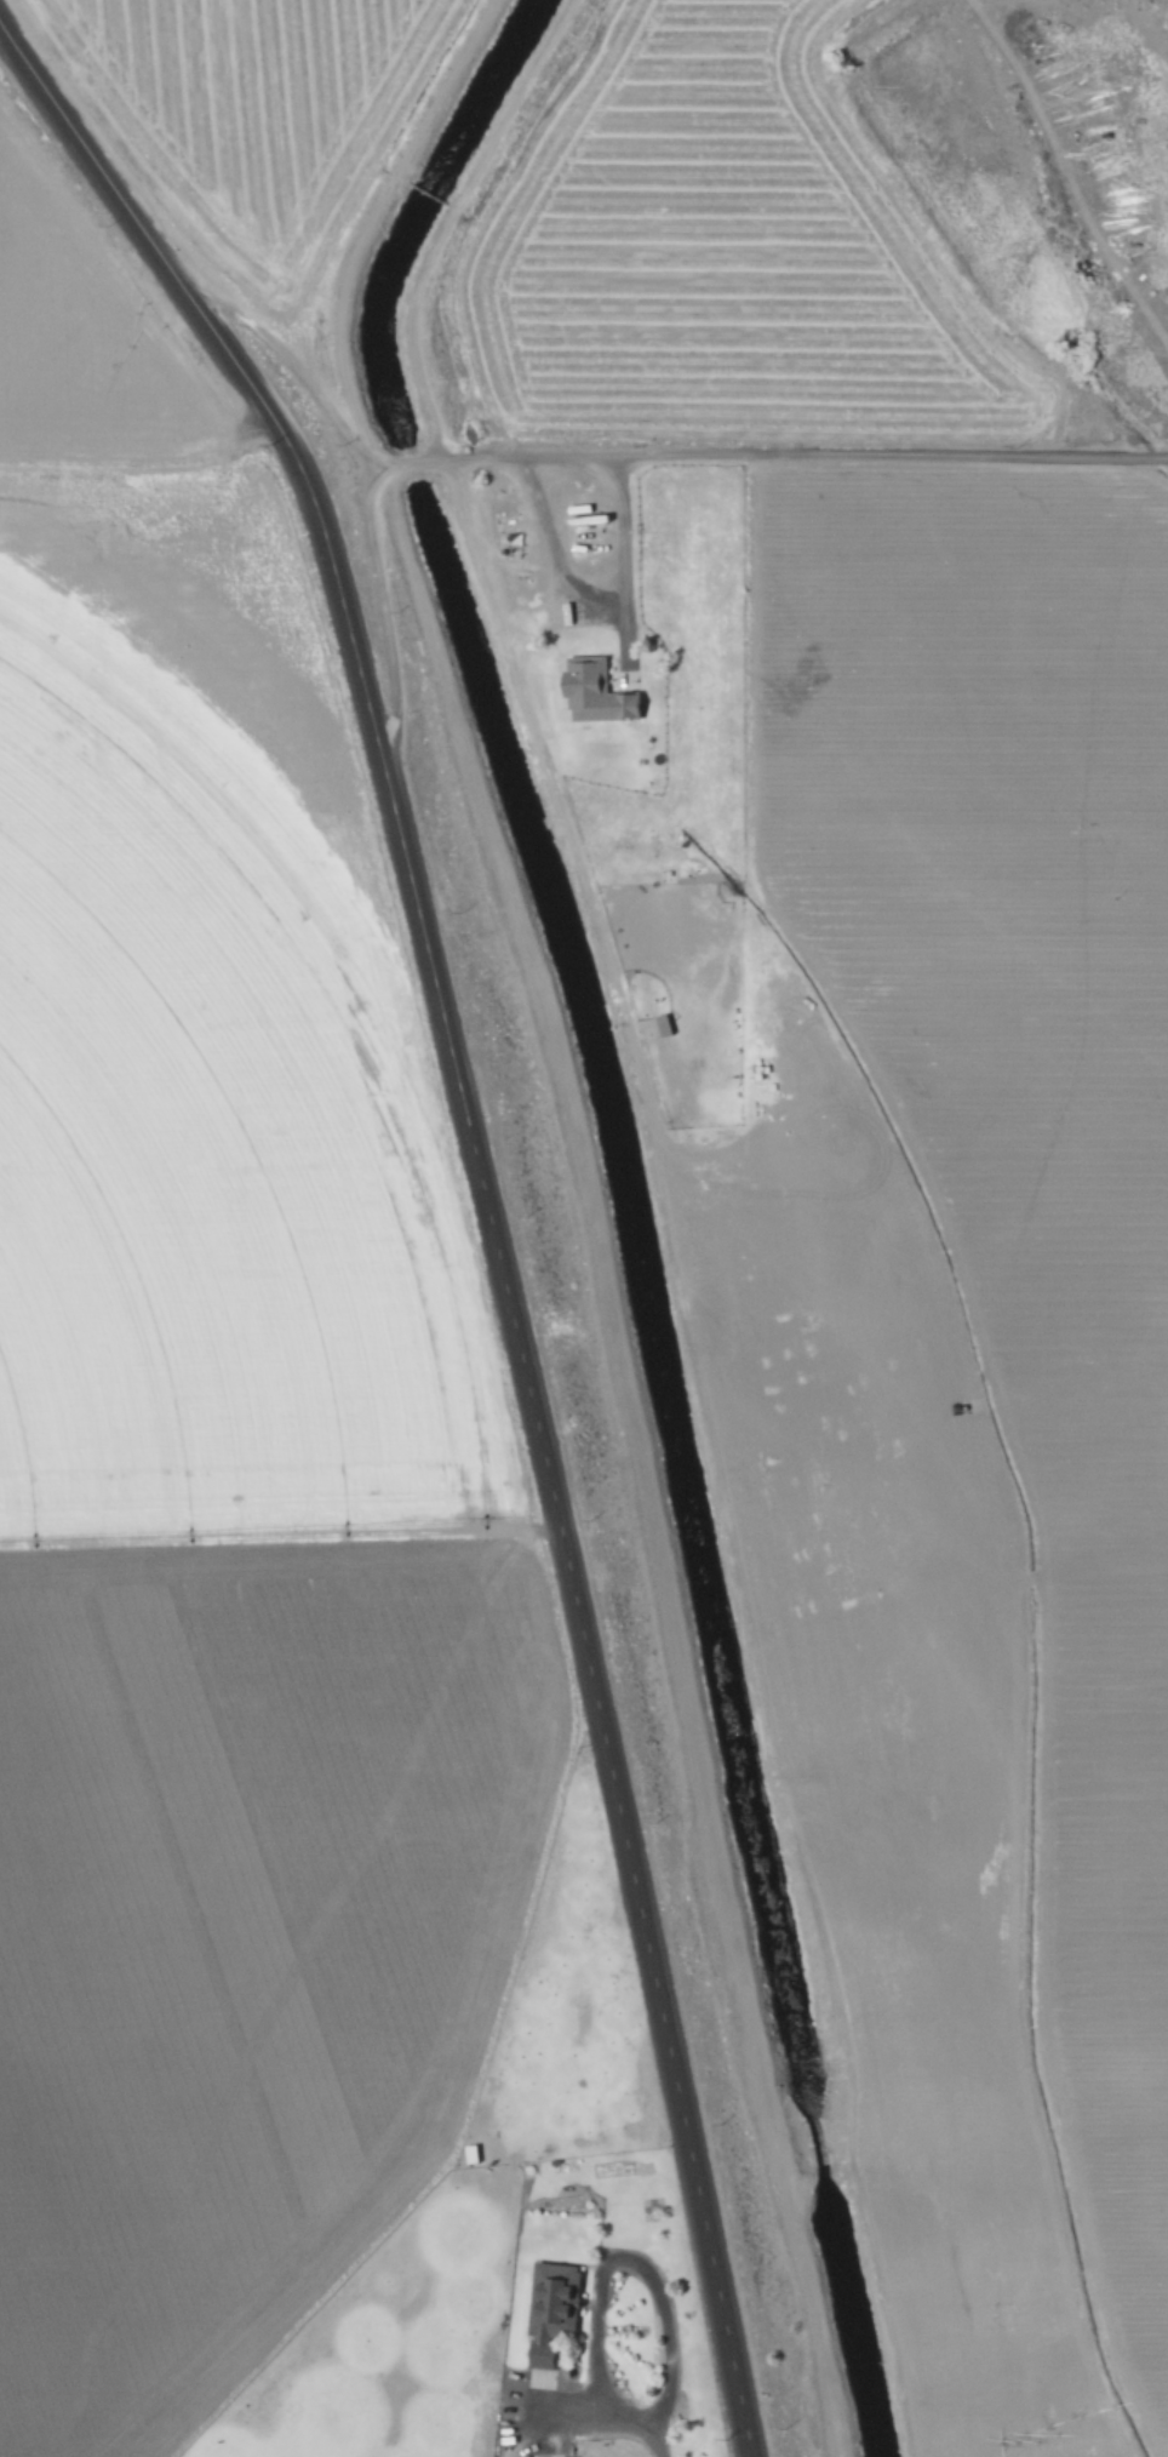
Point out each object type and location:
road: (631, 463)
building: (590, 695)
crop: (875, 1092)
road: (482, 1195)
crop: (248, 1562)
building: (549, 2309)

